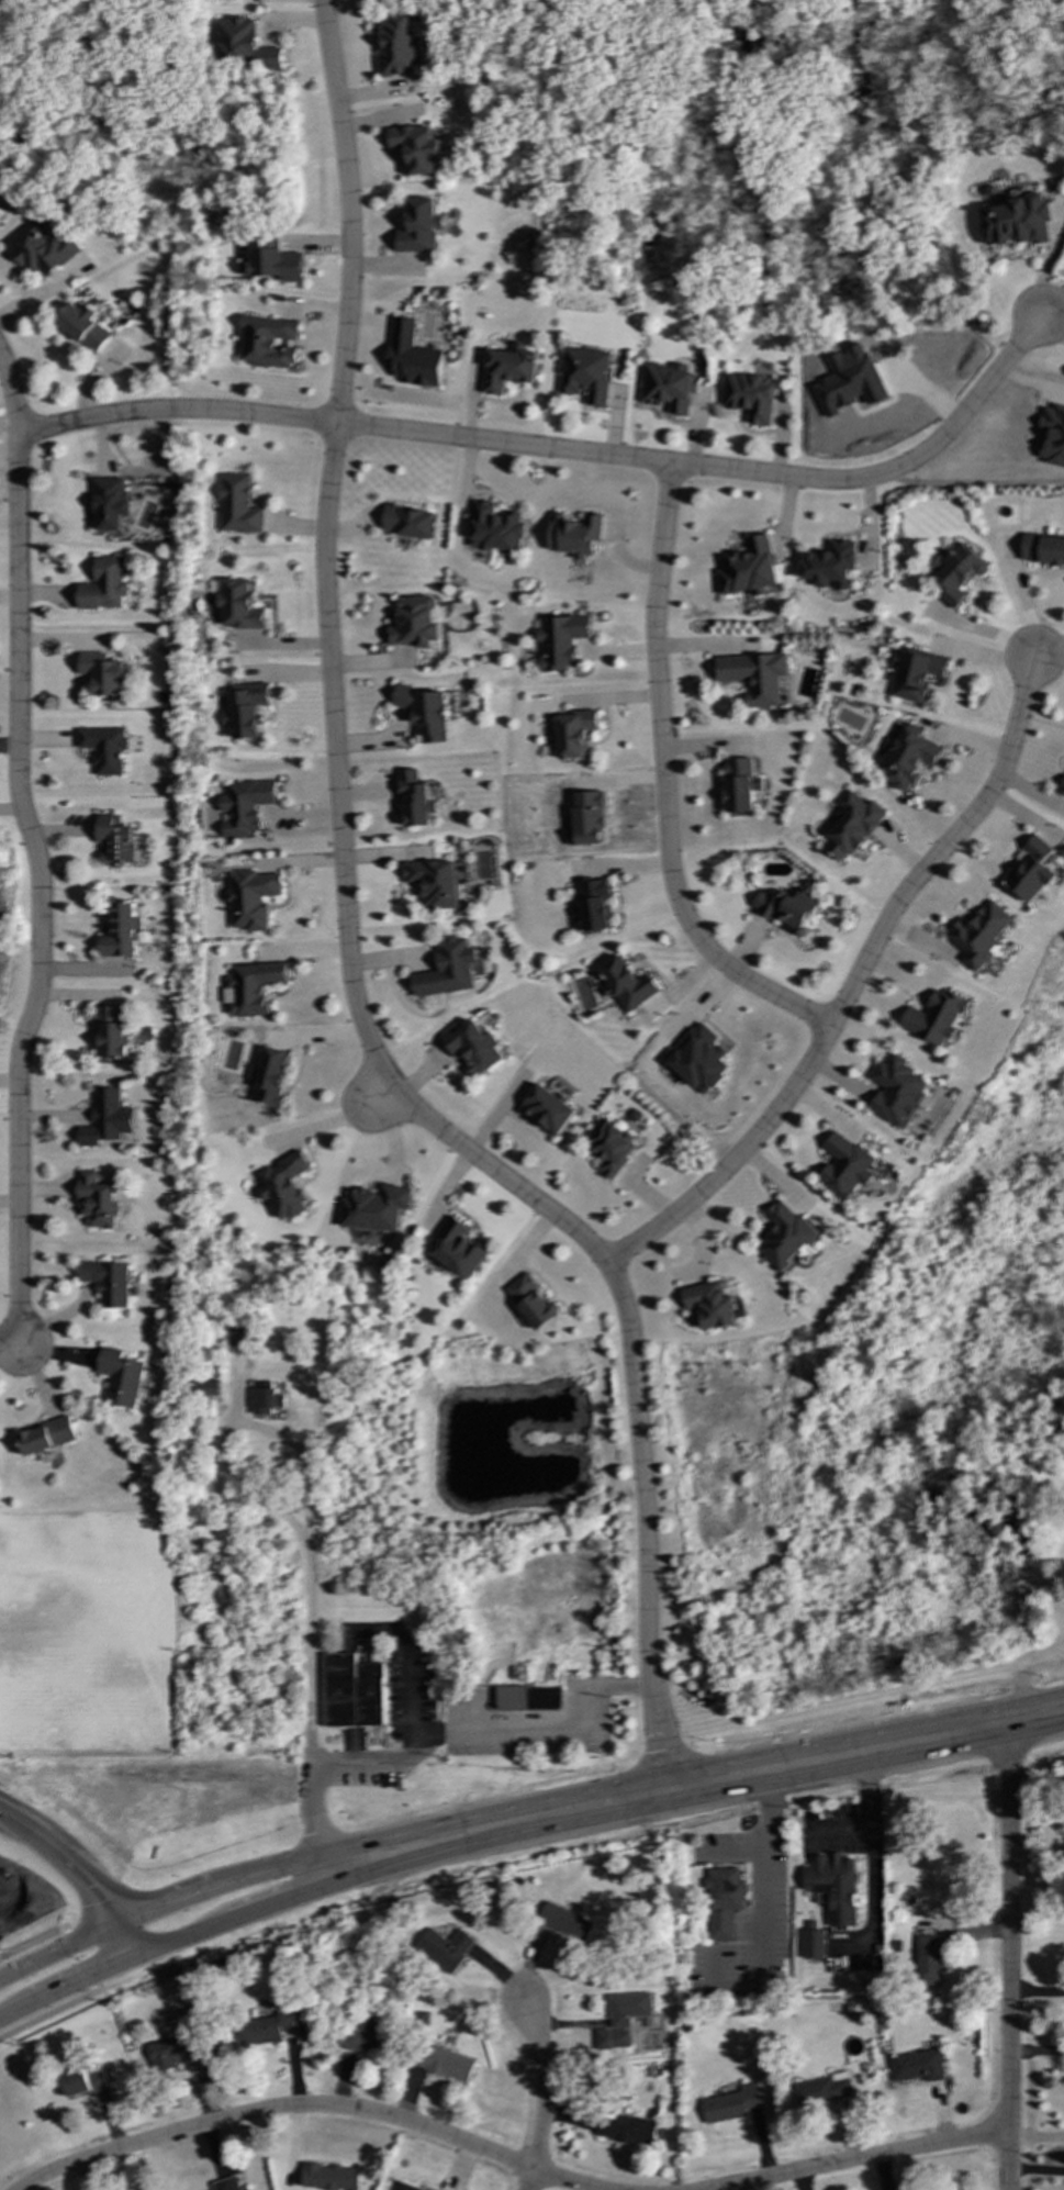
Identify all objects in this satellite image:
building: (396, 43)
building: (244, 45)
building: (414, 148)
road: (176, 197)
road: (346, 212)
building: (1016, 222)
building: (418, 227)
building: (40, 248)
building: (273, 261)
building: (82, 326)
building: (266, 342)
building: (412, 356)
building: (507, 368)
building: (584, 375)
building: (668, 387)
building: (750, 396)
building: (1053, 435)
road: (559, 451)
road: (974, 483)
building: (108, 503)
building: (236, 505)
building: (407, 522)
building: (494, 528)
building: (574, 535)
building: (1042, 549)
building: (830, 565)
building: (748, 568)
building: (954, 573)
building: (103, 585)
road: (1024, 597)
building: (239, 604)
building: (415, 623)
road: (982, 629)
building: (559, 640)
road: (1048, 649)
building: (102, 673)
building: (914, 673)
building: (753, 675)
building: (246, 709)
building: (425, 712)
building: (573, 734)
building: (102, 749)
road: (335, 756)
building: (906, 756)
road: (659, 785)
building: (737, 785)
building: (1062, 789)
building: (415, 798)
building: (245, 806)
building: (585, 818)
building: (851, 826)
building: (113, 841)
road: (34, 853)
building: (1032, 870)
building: (434, 882)
building: (251, 898)
building: (591, 904)
building: (786, 908)
building: (120, 931)
building: (979, 935)
building: (448, 969)
building: (625, 984)
road: (851, 984)
building: (250, 988)
building: (936, 1017)
building: (109, 1033)
building: (472, 1047)
building: (698, 1059)
building: (268, 1076)
building: (897, 1092)
road: (380, 1093)
building: (547, 1109)
building: (107, 1118)
building: (608, 1146)
building: (845, 1166)
building: (282, 1186)
building: (97, 1200)
building: (374, 1208)
building: (784, 1236)
building: (457, 1248)
building: (107, 1282)
building: (531, 1301)
building: (710, 1305)
building: (238, 1336)
road: (15, 1343)
building: (121, 1377)
road: (634, 1382)
building: (206, 1388)
building: (265, 1400)
building: (48, 1437)
road: (309, 1550)
building: (352, 1691)
building: (527, 1698)
road: (1032, 1717)
road: (538, 1731)
road: (404, 1751)
road: (719, 1777)
road: (840, 1829)
road: (735, 1853)
road: (766, 1859)
road: (874, 1863)
road: (75, 1876)
road: (213, 1886)
building: (833, 1886)
building: (723, 1902)
road: (217, 1921)
building: (565, 1922)
road: (31, 1943)
building: (813, 1944)
building: (445, 1948)
road: (1010, 1956)
road: (79, 1959)
building: (929, 1959)
road: (1037, 1991)
building: (627, 2009)
road: (47, 2014)
building: (264, 2029)
building: (362, 2033)
building: (612, 2040)
building: (169, 2048)
road: (1037, 2052)
building: (444, 2063)
building: (917, 2066)
building: (83, 2081)
road: (541, 2082)
building: (822, 2090)
building: (731, 2104)
road: (302, 2108)
road: (1035, 2137)
road: (862, 2158)
road: (1035, 2171)
building: (328, 2177)
road: (526, 2180)
building: (225, 2185)
building: (403, 2187)
building: (244, 2189)

